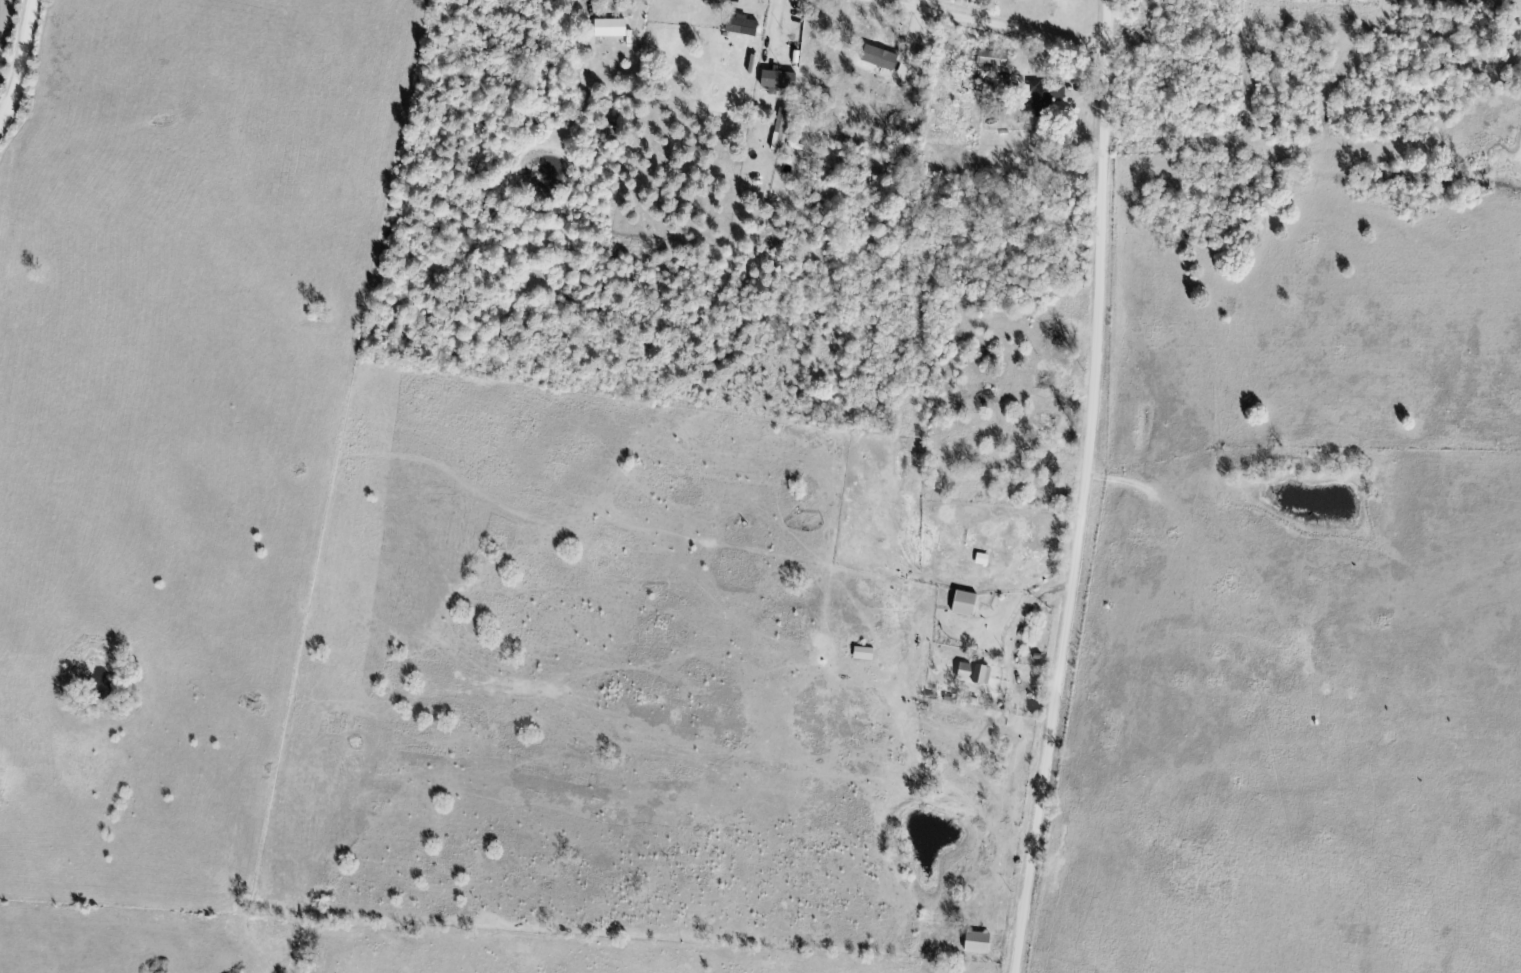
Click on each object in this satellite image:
road: (992, 24)
building: (744, 26)
building: (614, 29)
building: (995, 59)
building: (802, 62)
road: (21, 65)
building: (1050, 91)
building: (782, 130)
building: (1049, 379)
building: (1051, 422)
road: (1088, 488)
building: (969, 605)
building: (977, 673)
building: (981, 944)

